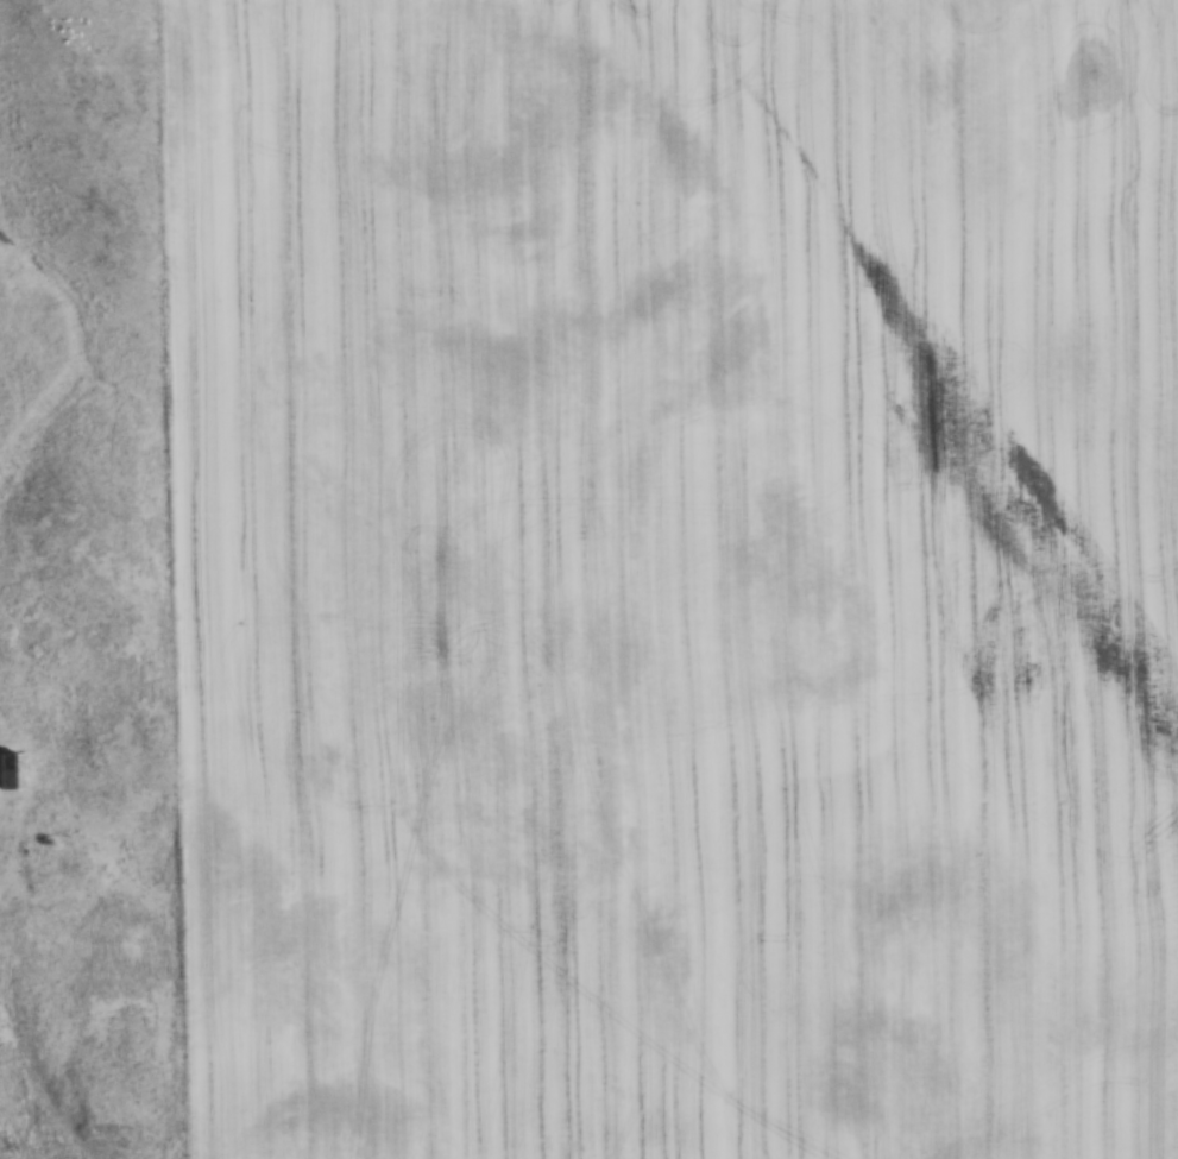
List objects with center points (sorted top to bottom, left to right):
building: (11, 771)

